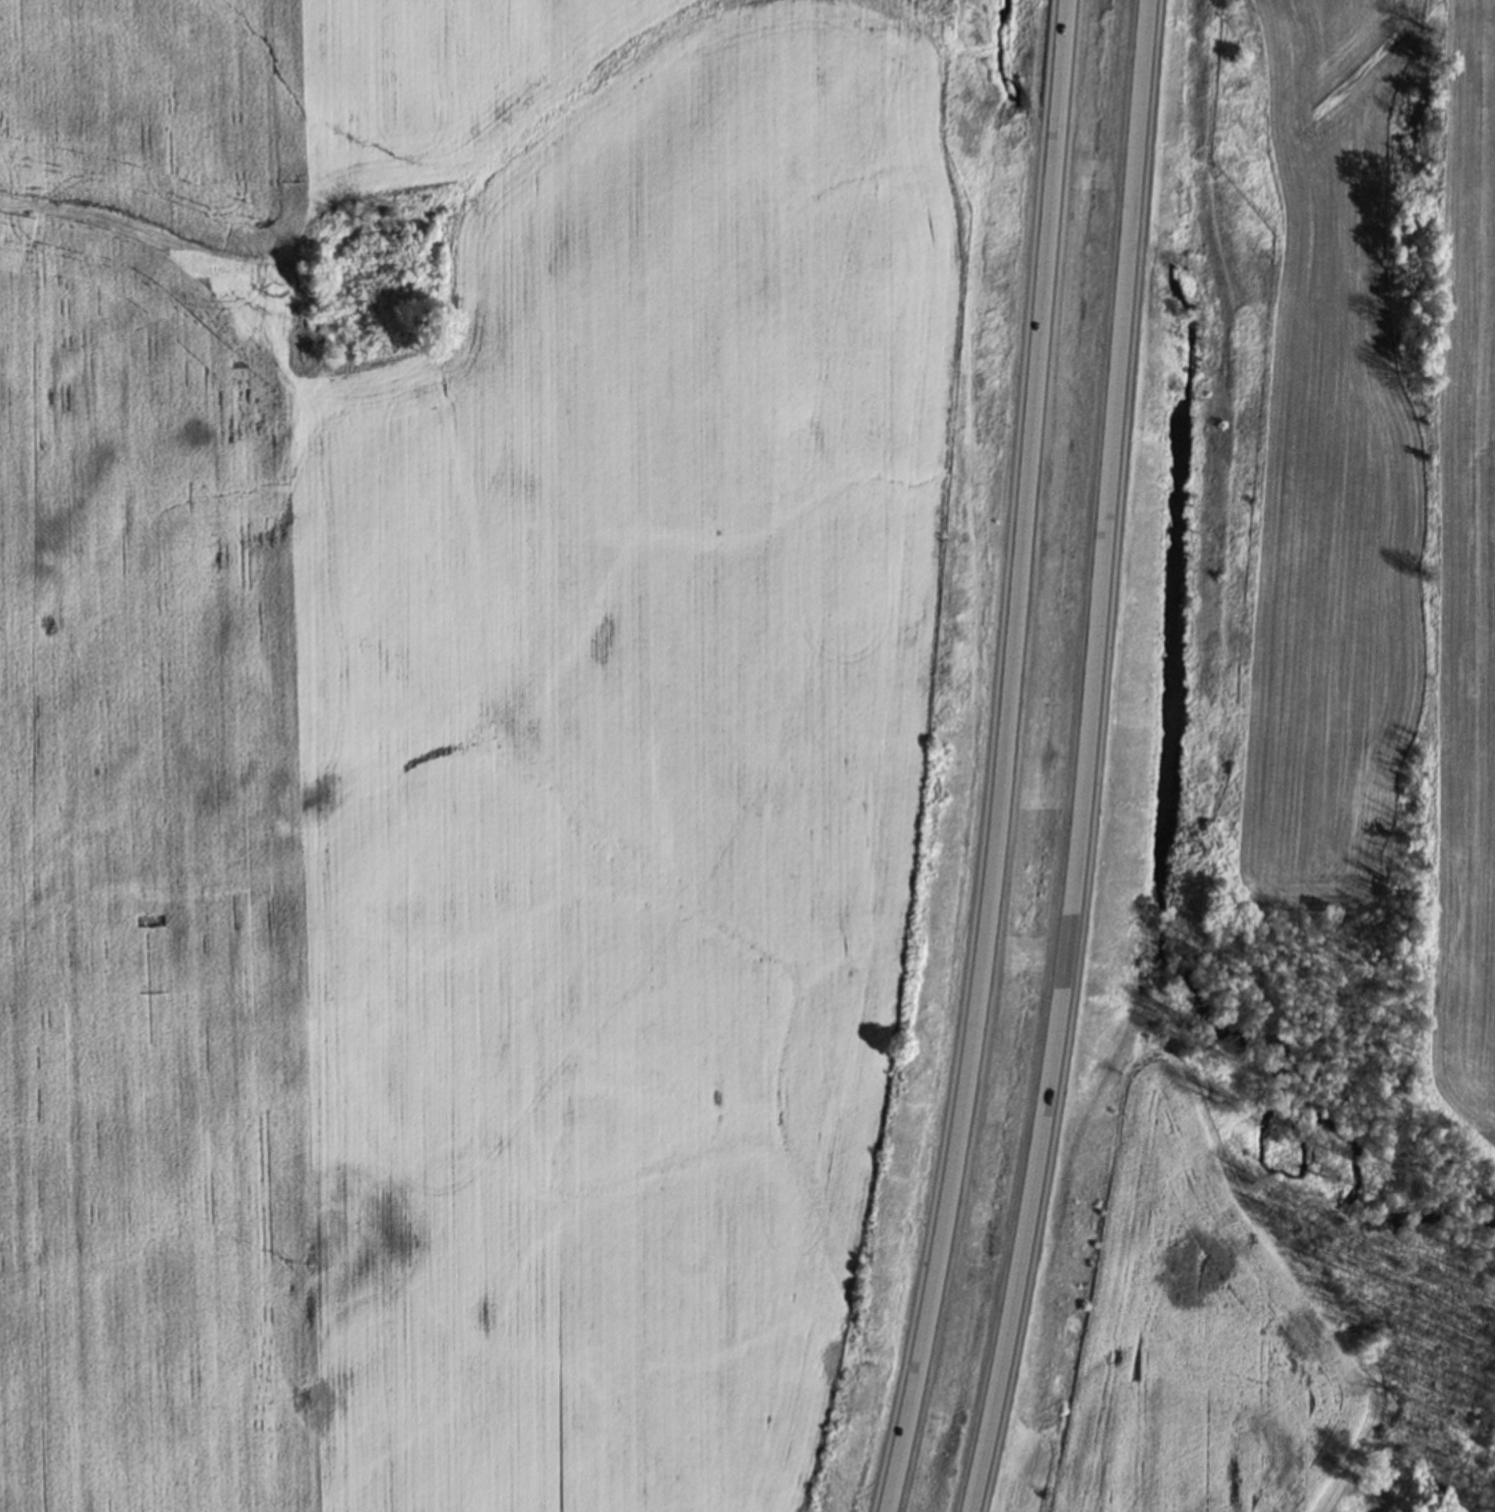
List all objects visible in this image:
road: (998, 759)
road: (1086, 759)

